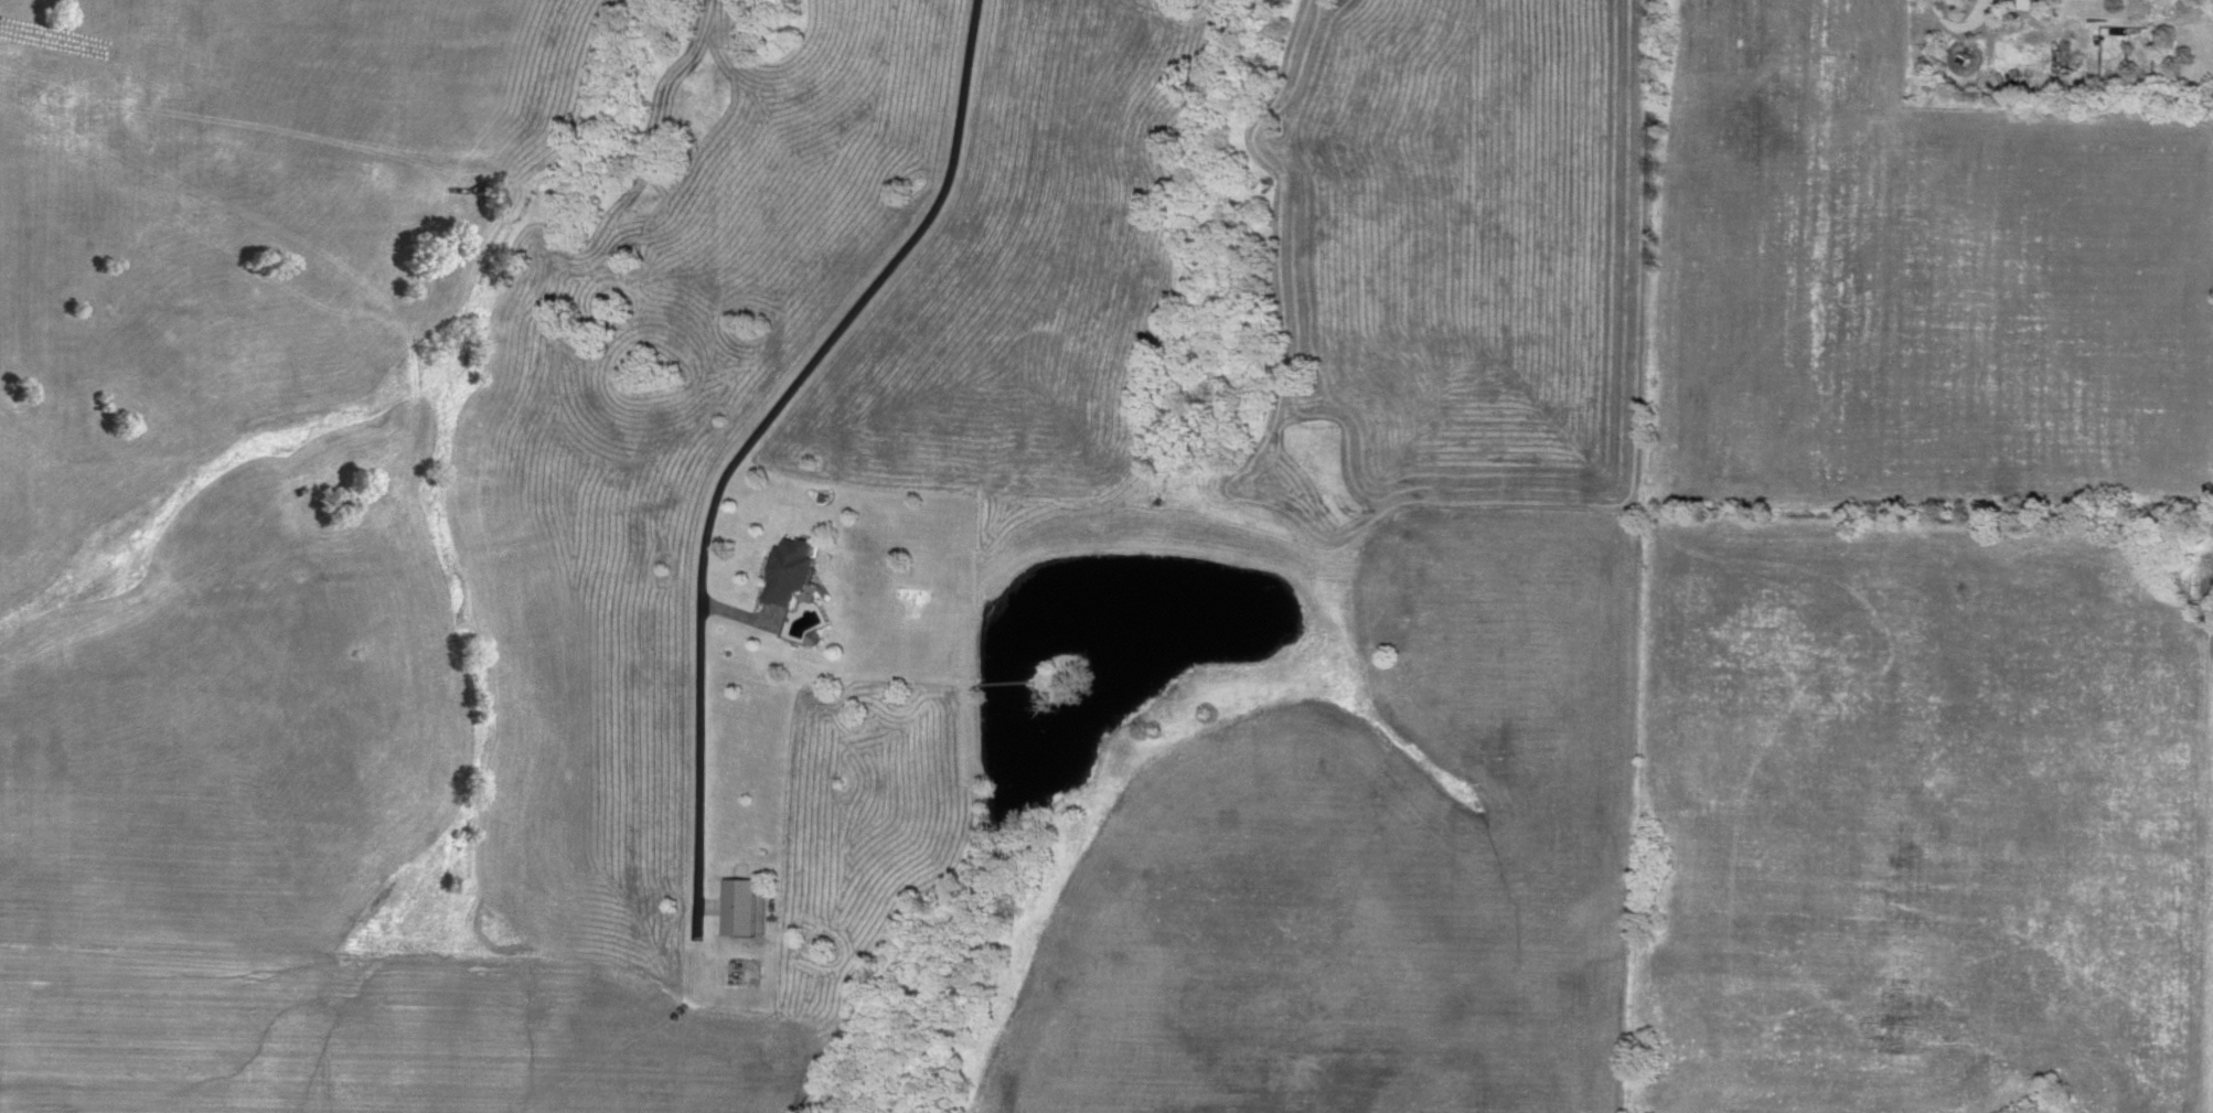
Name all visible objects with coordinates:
road: (1952, 30)
road: (763, 435)
building: (741, 905)

